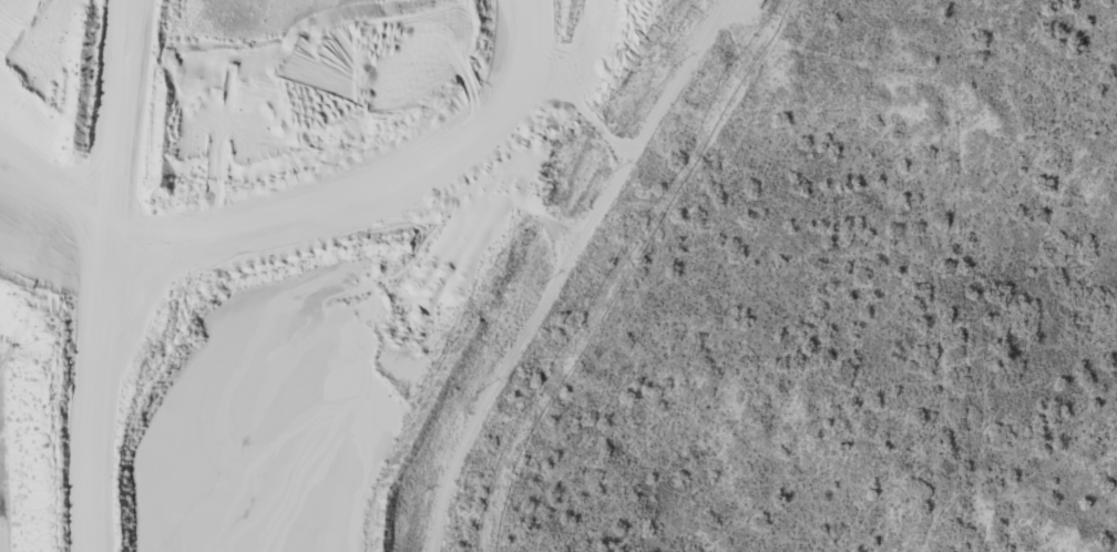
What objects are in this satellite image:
quarry: (285, 249)

